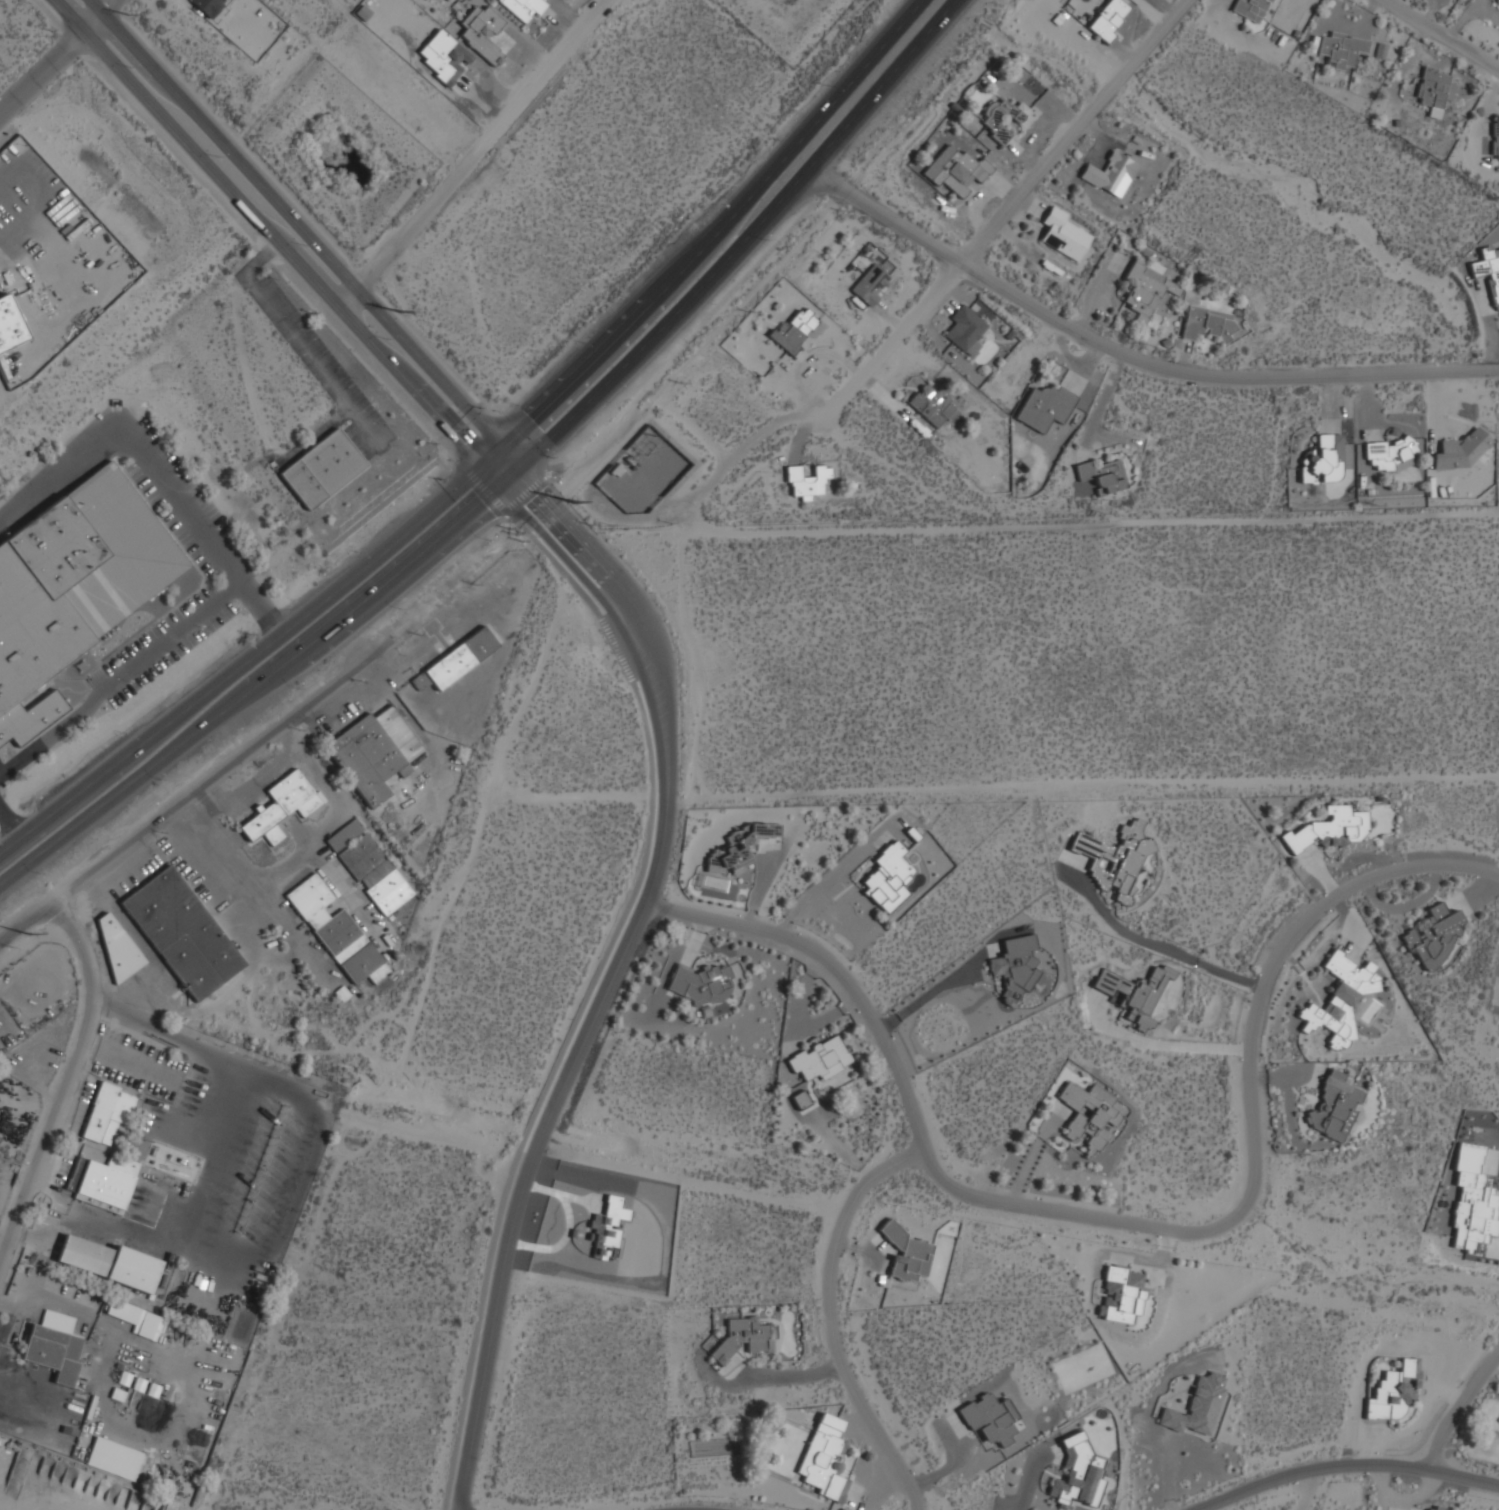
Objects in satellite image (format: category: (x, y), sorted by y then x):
building: (208, 6)
building: (524, 8)
building: (1252, 8)
power tower: (126, 14)
road: (104, 18)
building: (1109, 18)
road: (1453, 27)
building: (483, 32)
building: (1342, 50)
road: (43, 75)
building: (1435, 91)
building: (1003, 118)
building: (1495, 142)
road: (474, 153)
building: (957, 170)
building: (1111, 174)
road: (1127, 199)
road: (1316, 206)
road: (1002, 211)
road: (705, 223)
road: (304, 230)
road: (735, 234)
building: (1065, 234)
road: (276, 238)
road: (269, 251)
building: (1489, 269)
building: (872, 285)
building: (1146, 290)
power tower: (400, 314)
building: (1208, 323)
building: (10, 325)
building: (795, 329)
building: (966, 330)
street lamp: (387, 338)
street lamp: (583, 342)
road: (1128, 348)
street lamp: (520, 405)
building: (933, 406)
building: (1045, 406)
traffic signals: (496, 442)
building: (1462, 450)
road: (136, 452)
building: (1388, 453)
street lamp: (552, 457)
traffic signals: (480, 458)
building: (1323, 460)
traffic signals: (515, 462)
building: (322, 468)
street lamp: (179, 473)
power substation: (641, 473)
building: (1103, 475)
street lamp: (440, 478)
traffic signals: (497, 479)
building: (808, 481)
power tower: (574, 502)
street lamp: (219, 527)
street lamp: (489, 540)
street lamp: (358, 552)
building: (74, 588)
road: (637, 605)
road: (374, 607)
street lamp: (401, 608)
road: (612, 615)
street lamp: (203, 627)
street lamp: (244, 641)
road: (252, 654)
road: (142, 660)
building: (458, 660)
road: (262, 680)
street lamp: (132, 682)
street lamp: (300, 688)
street lamp: (127, 733)
building: (374, 752)
road: (1082, 778)
street lamp: (162, 779)
road: (589, 787)
building: (281, 807)
road: (171, 810)
building: (1330, 828)
road: (8, 831)
building: (738, 848)
building: (1112, 862)
road: (240, 863)
building: (370, 866)
street lamp: (40, 873)
building: (888, 877)
building: (337, 932)
building: (181, 933)
power tower: (29, 934)
building: (1435, 937)
building: (117, 950)
building: (1015, 967)
building: (701, 983)
road: (588, 990)
building: (1140, 994)
building: (1341, 999)
road: (77, 1045)
road: (1162, 1045)
building: (821, 1059)
building: (1334, 1106)
building: (107, 1114)
building: (1092, 1116)
road: (541, 1141)
road: (1036, 1151)
road: (264, 1165)
building: (102, 1183)
road: (47, 1200)
building: (1472, 1201)
road: (20, 1213)
road: (1126, 1216)
road: (48, 1226)
building: (606, 1228)
road: (6, 1252)
building: (906, 1253)
building: (108, 1262)
building: (1122, 1296)
road: (829, 1314)
building: (136, 1319)
building: (743, 1338)
building: (54, 1346)
road: (789, 1376)
building: (1395, 1392)
road: (1456, 1401)
building: (1197, 1407)
building: (990, 1419)
building: (113, 1458)
road: (1337, 1460)
building: (822, 1465)
building: (1076, 1474)
road: (684, 1507)
building: (1434, 1509)

